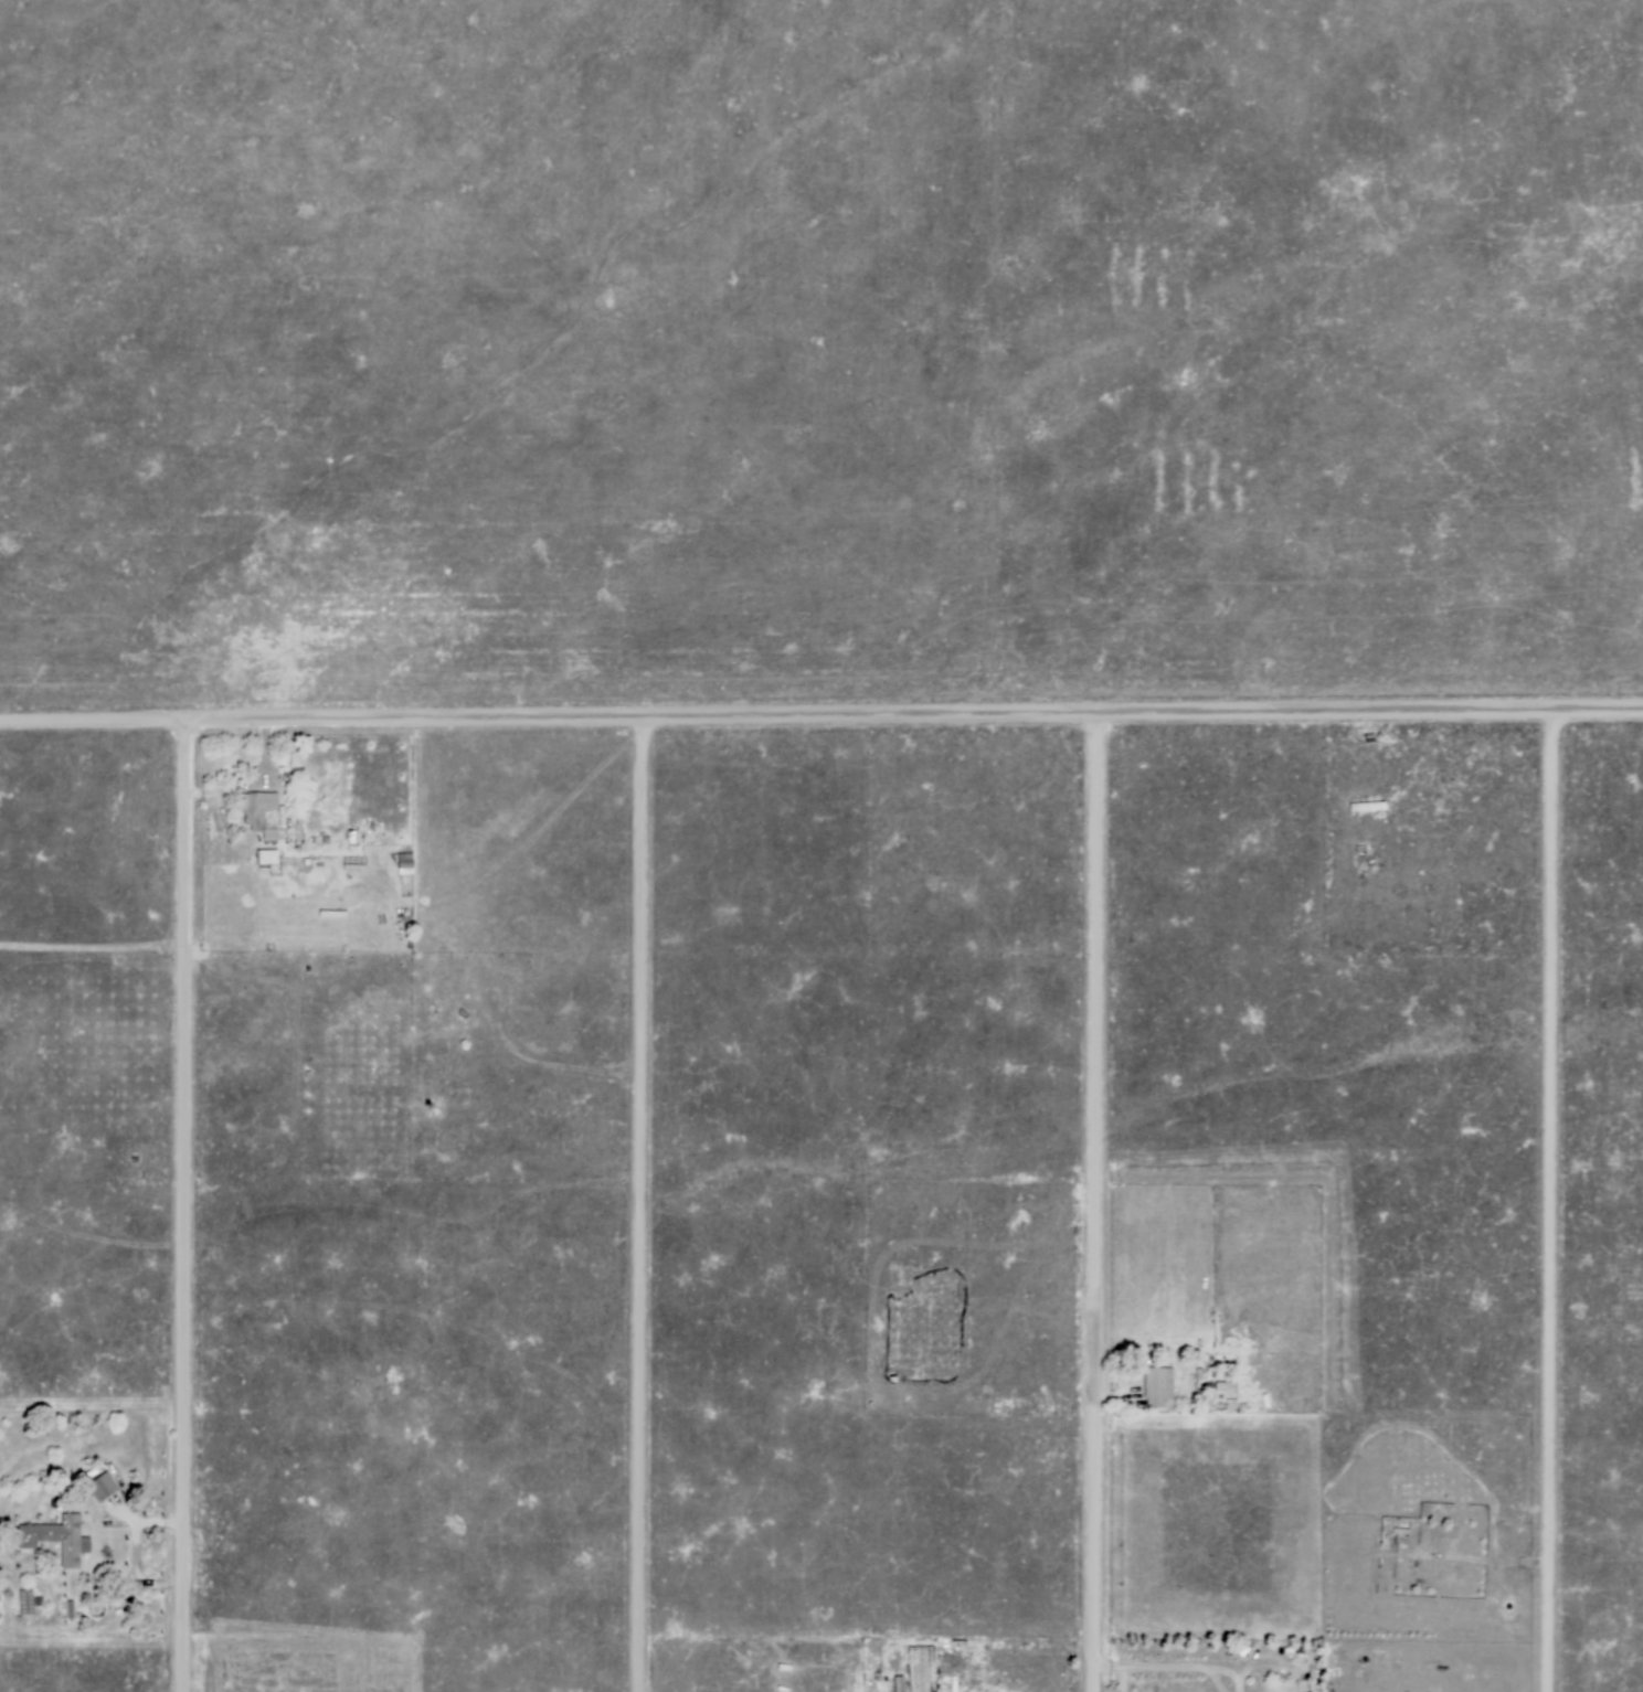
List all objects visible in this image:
road: (821, 715)
building: (1366, 806)
building: (258, 810)
building: (1329, 823)
building: (354, 840)
building: (1360, 850)
building: (268, 859)
building: (406, 865)
road: (1546, 1200)
road: (1089, 1202)
road: (179, 1204)
road: (634, 1204)
building: (1159, 1388)
building: (98, 1486)
building: (60, 1541)
road: (1180, 1664)
road: (1240, 1678)
building: (901, 1685)

